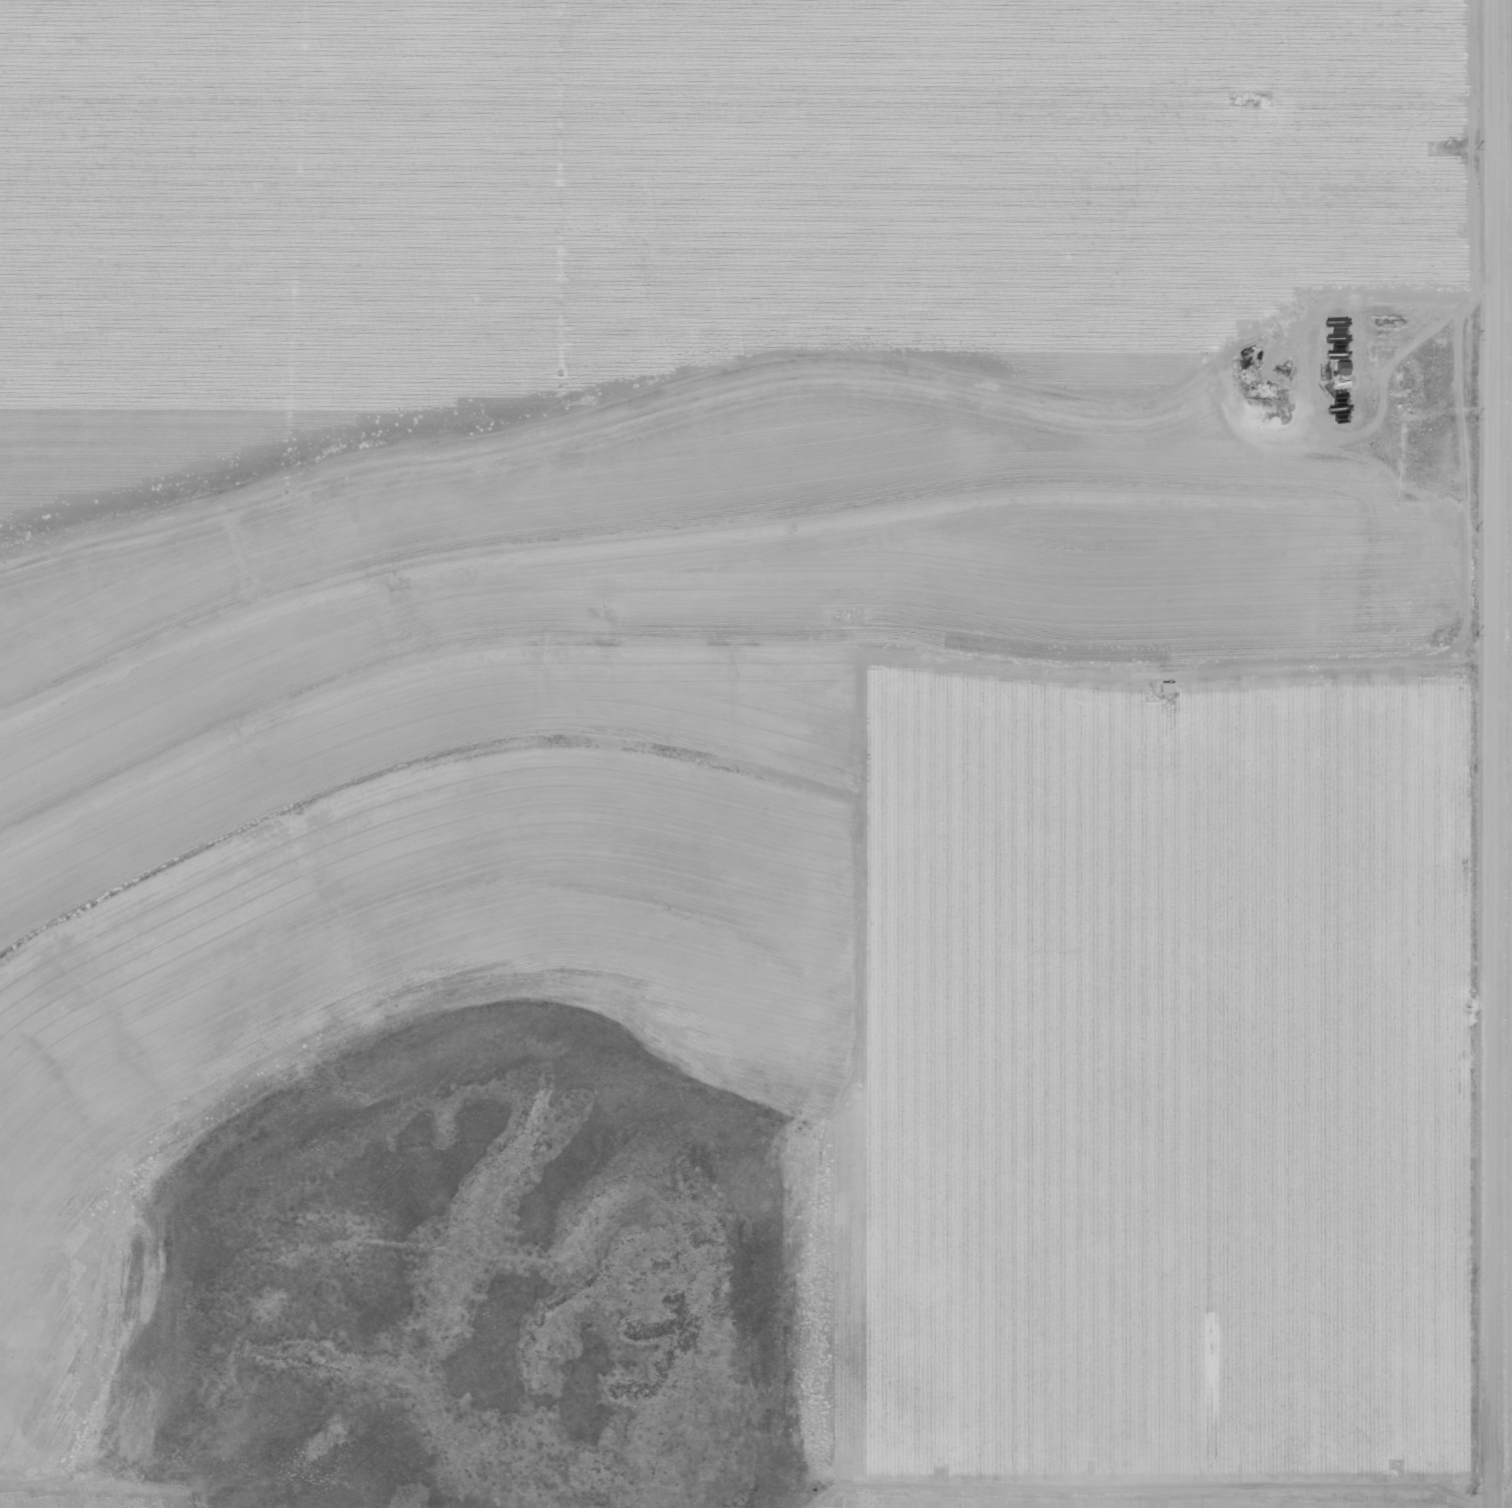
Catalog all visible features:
road: (1500, 754)

